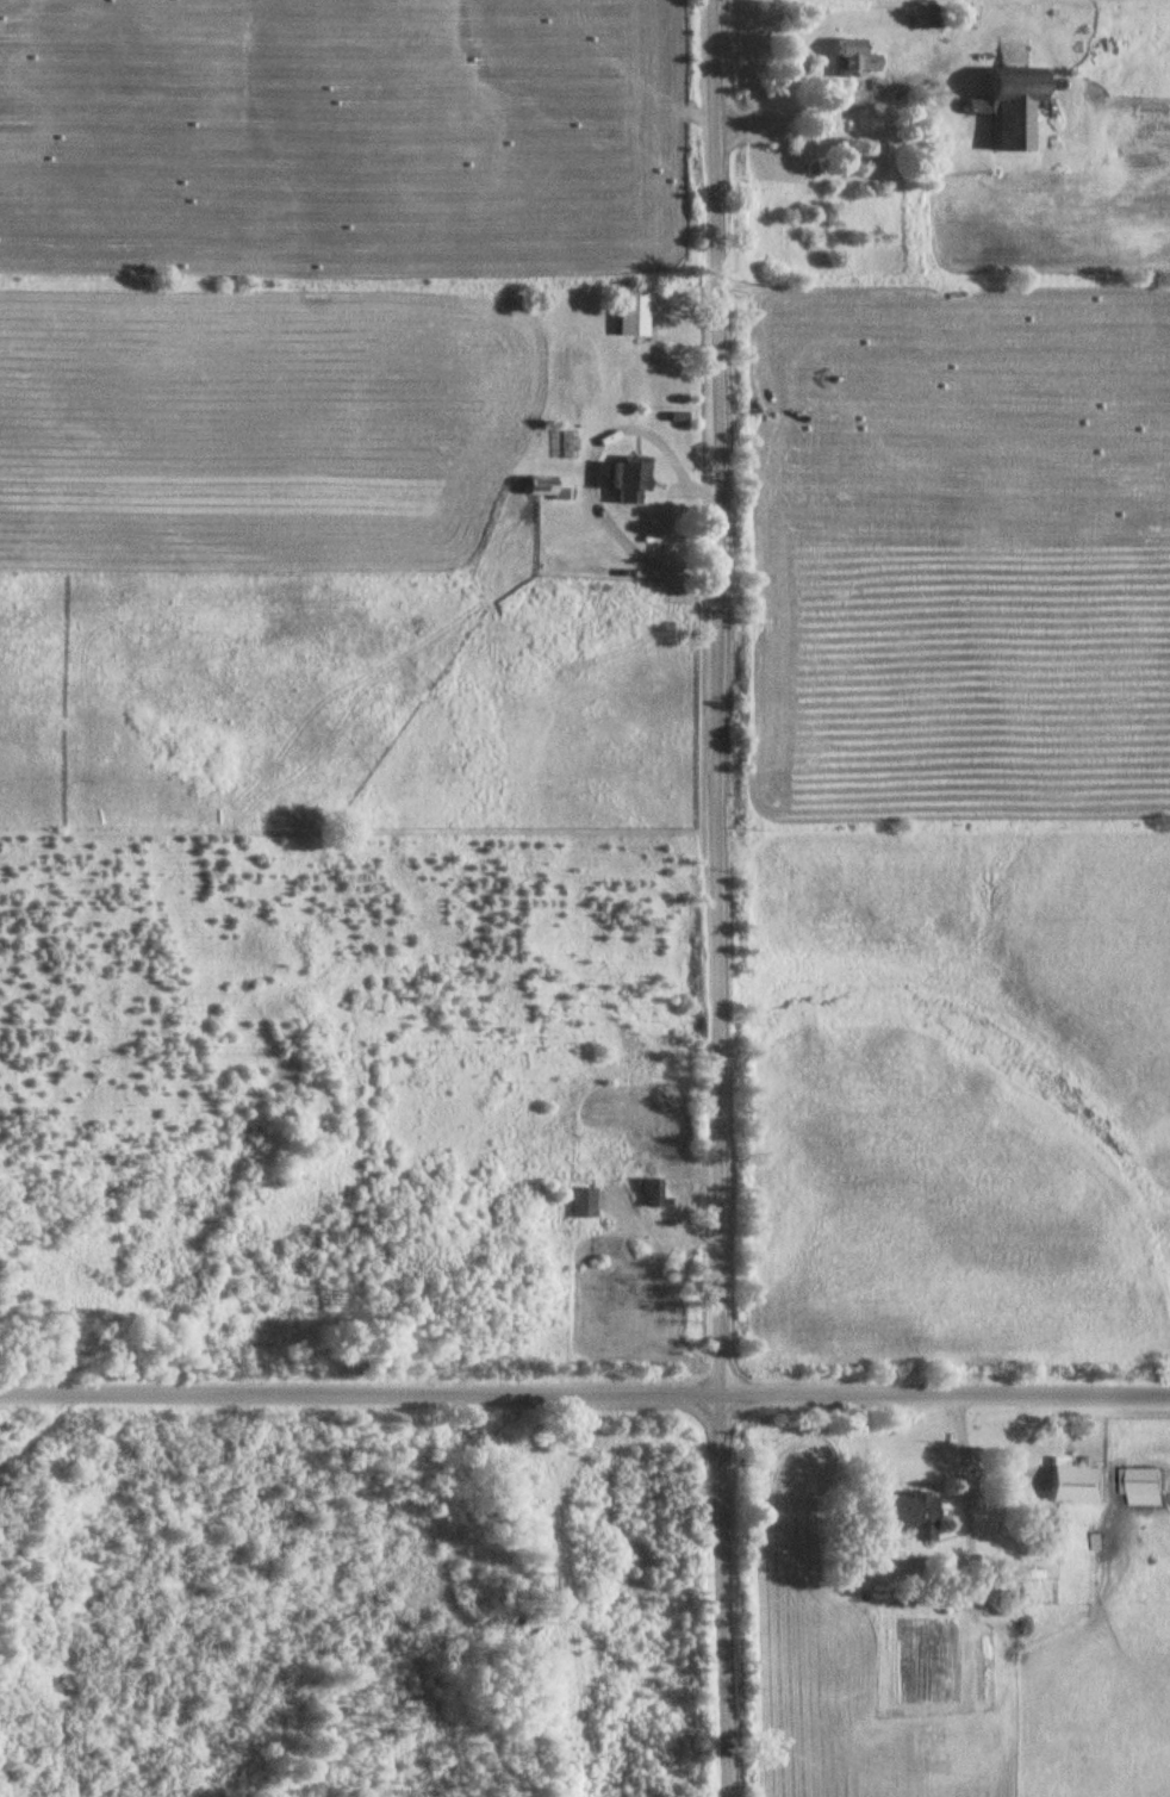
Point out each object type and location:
building: (853, 60)
building: (633, 313)
building: (628, 483)
building: (548, 486)
road: (717, 898)
building: (652, 1192)
building: (584, 1205)
road: (584, 1395)
building: (1078, 1481)
building: (1145, 1485)
building: (914, 1513)

